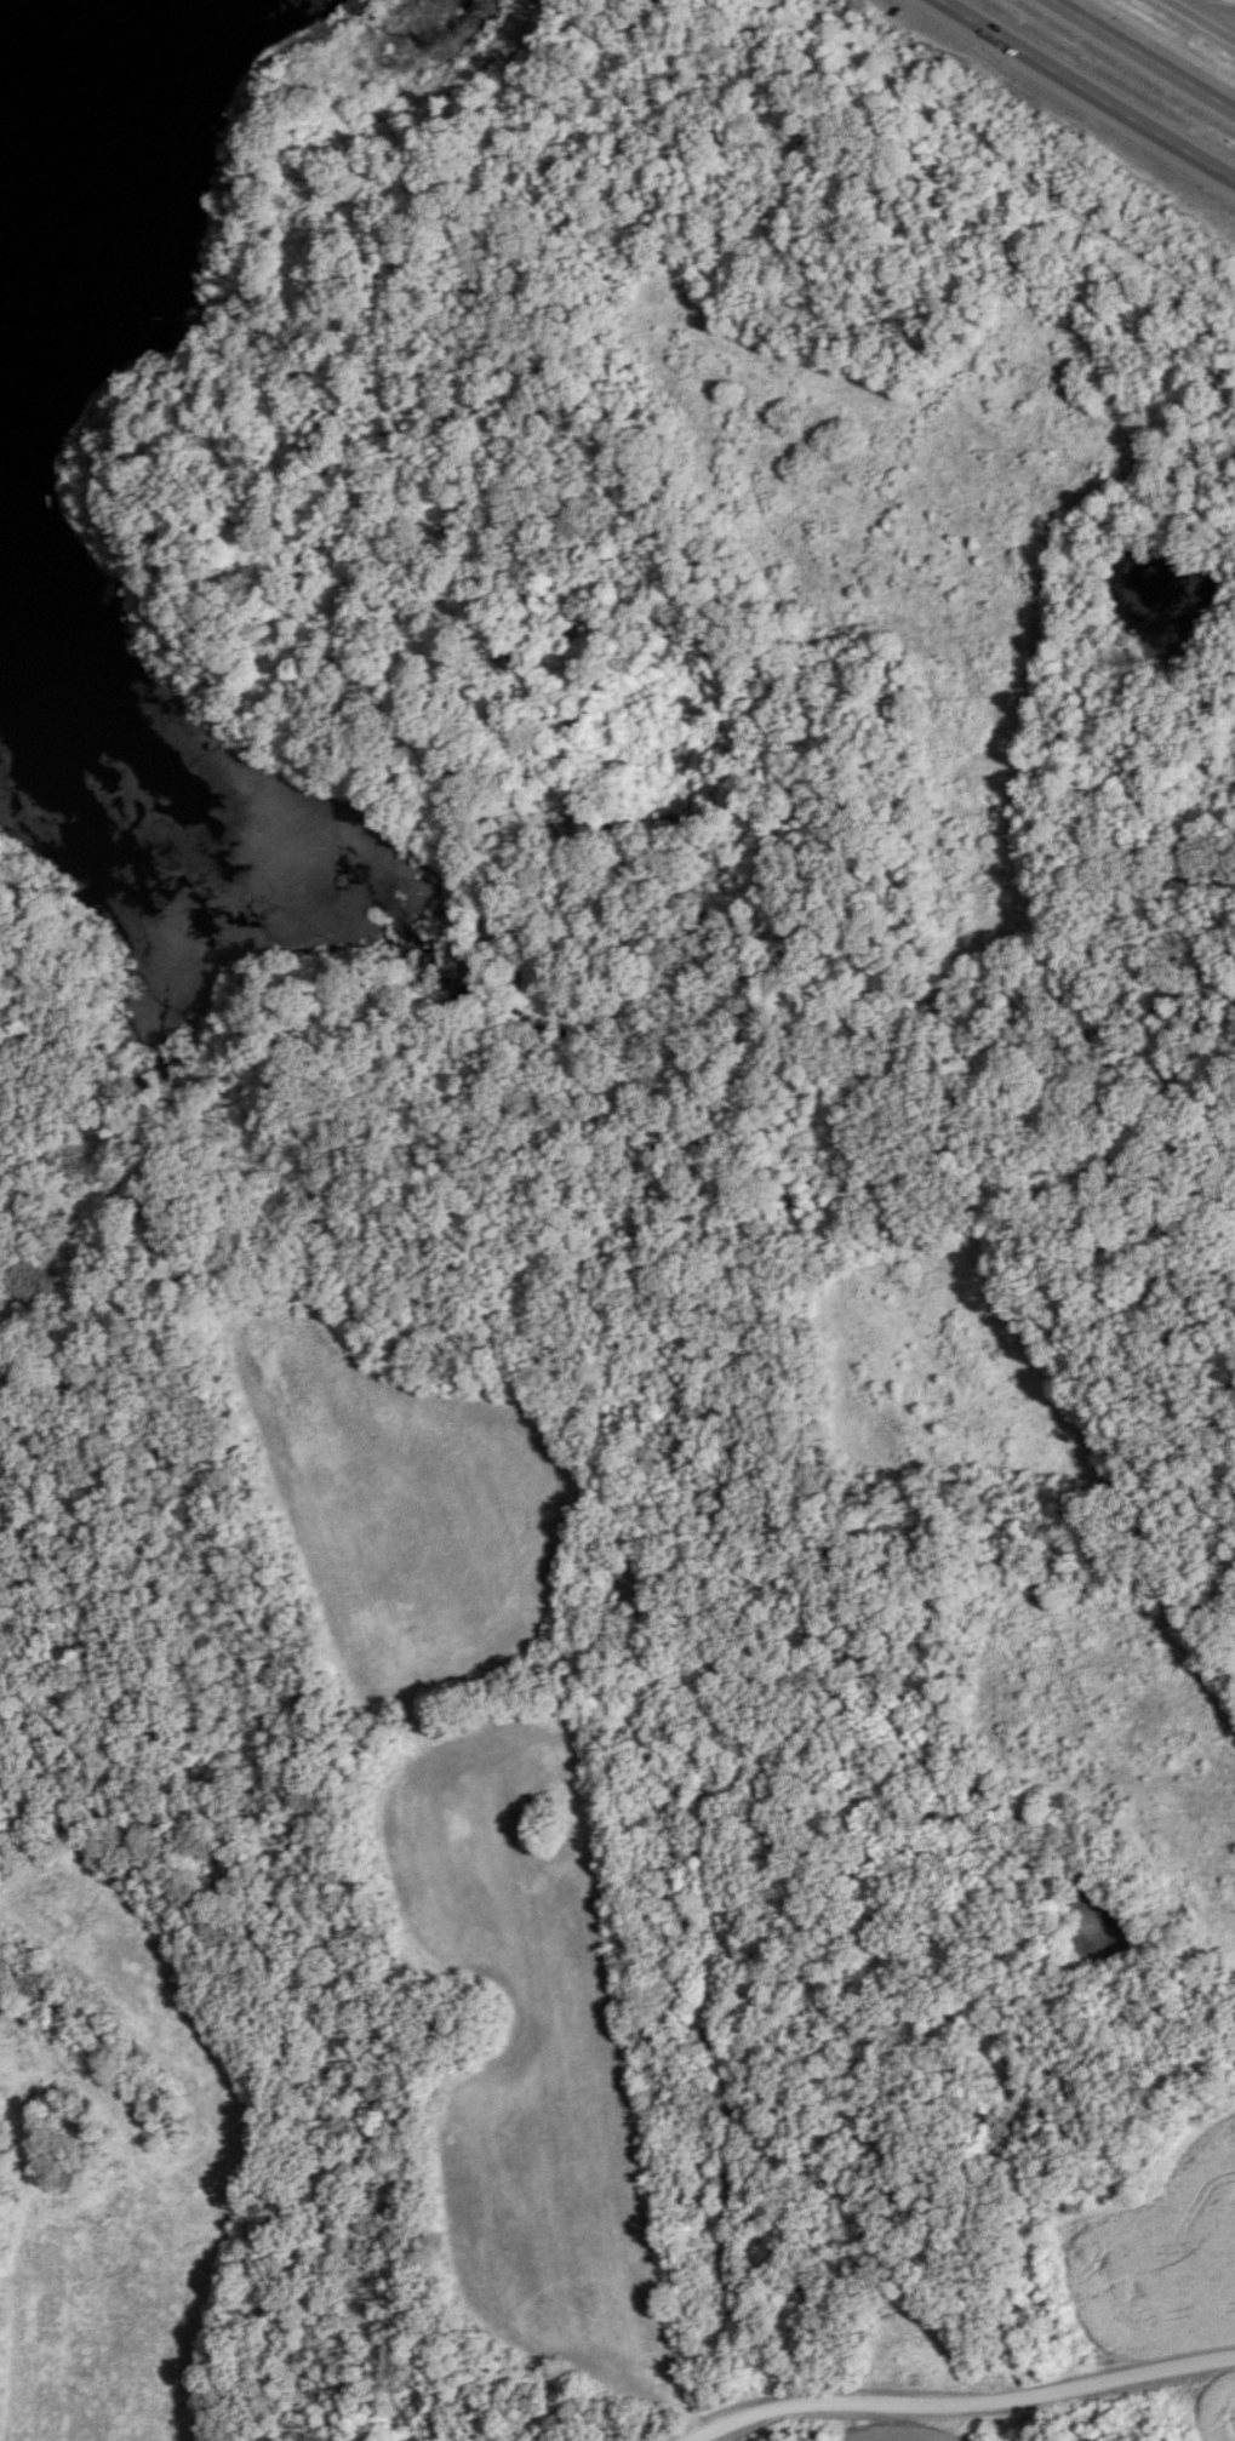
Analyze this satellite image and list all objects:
road: (1214, 10)
road: (1206, 17)
road: (1144, 55)
road: (1087, 90)
road: (957, 2405)

